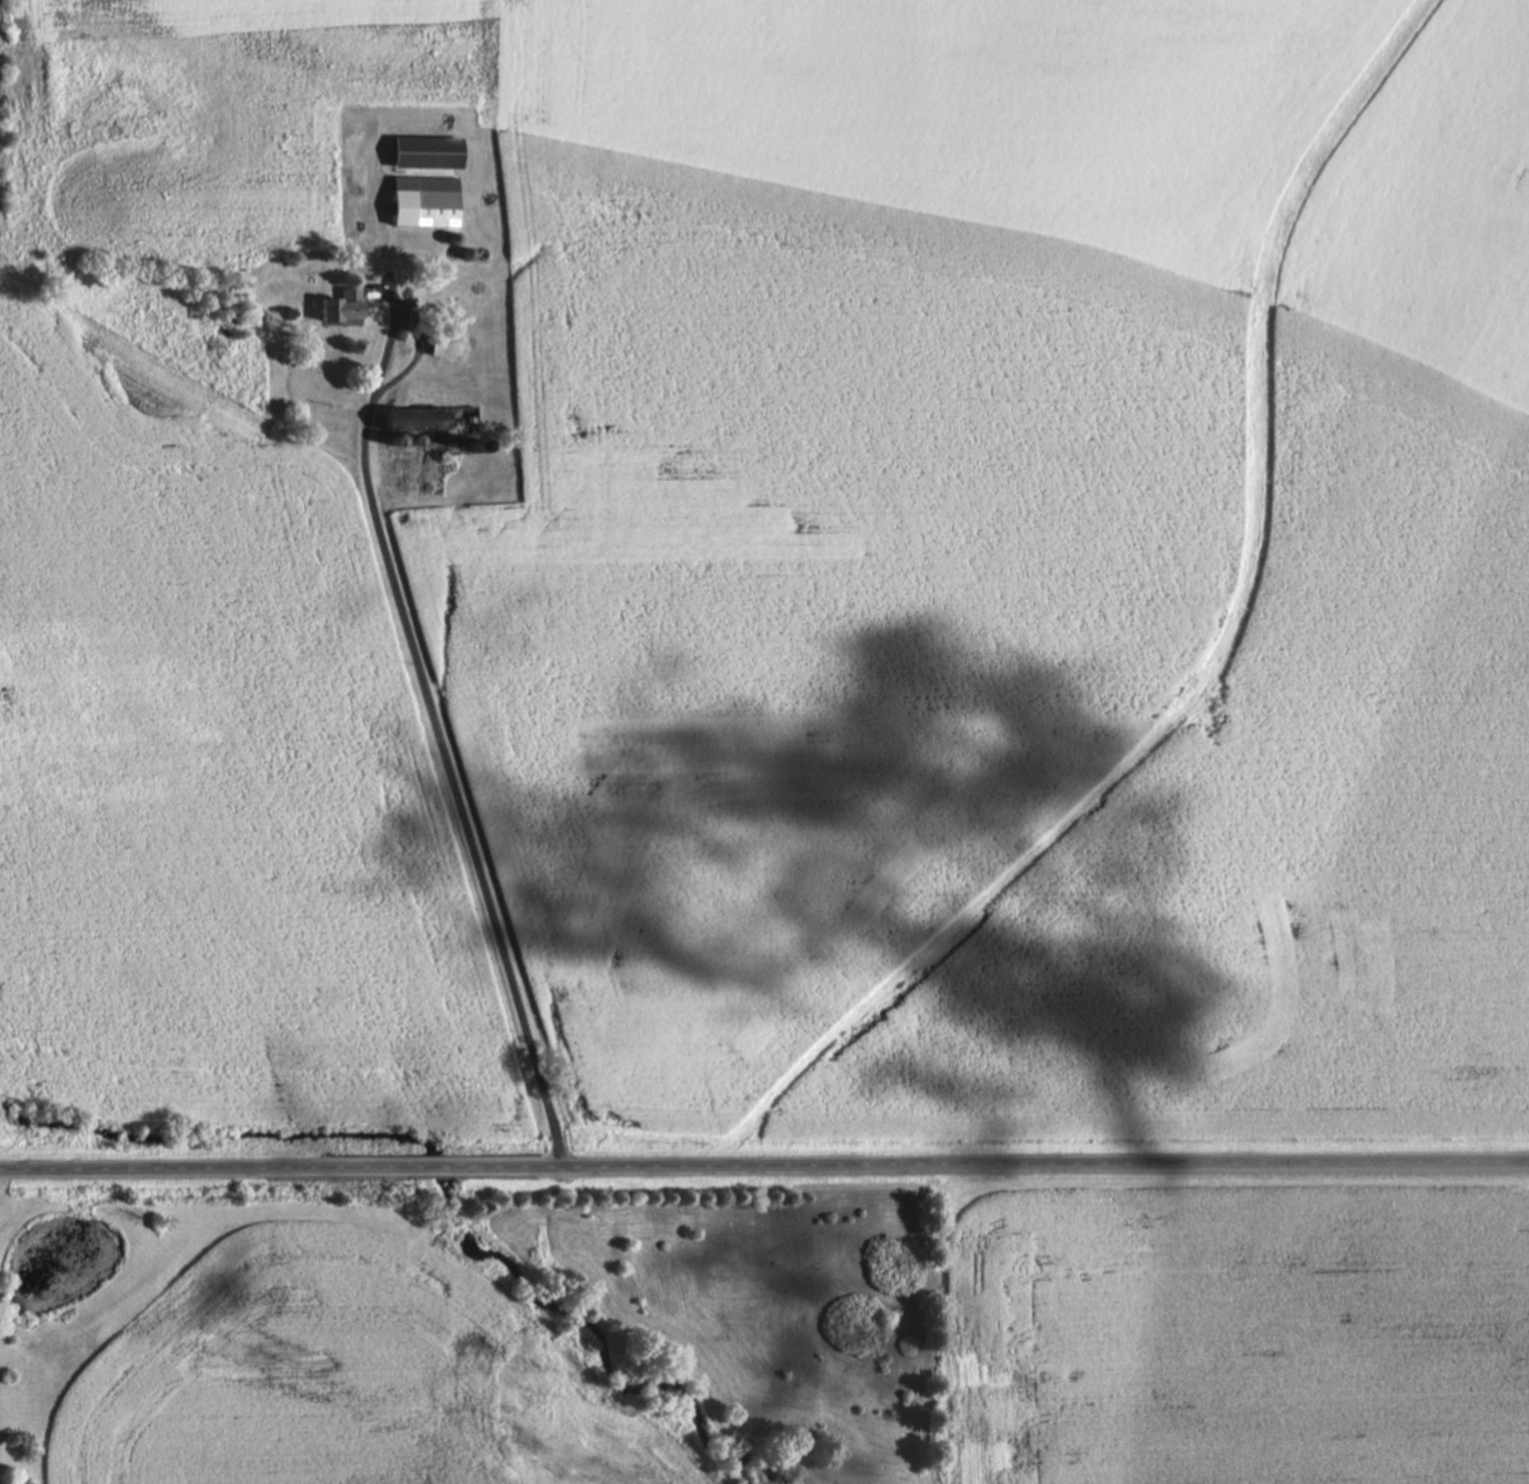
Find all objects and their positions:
building: (428, 150)
building: (425, 200)
building: (343, 307)
building: (445, 343)
building: (437, 424)
road: (500, 847)
road: (989, 1163)
road: (424, 1167)
road: (198, 1169)
building: (71, 1266)

